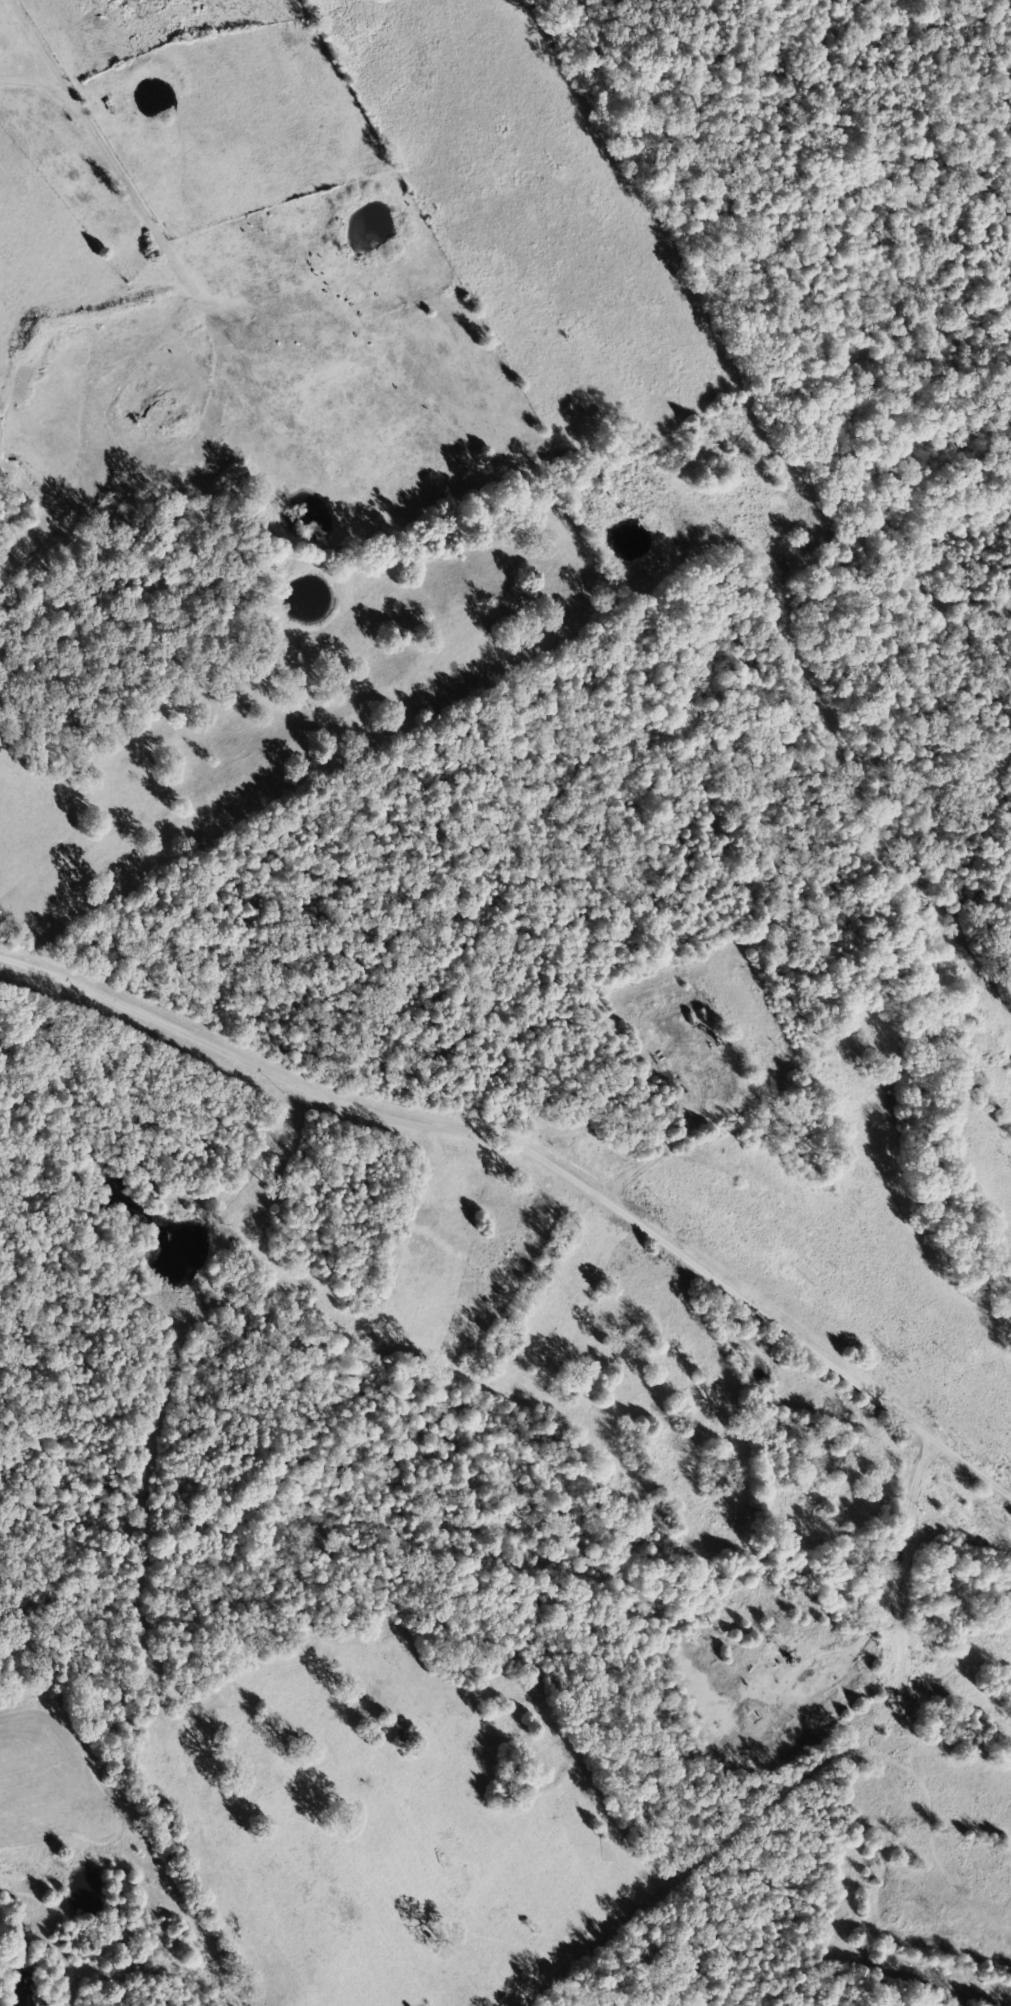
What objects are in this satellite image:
road: (541, 1163)
road: (759, 1795)
road: (151, 1872)

